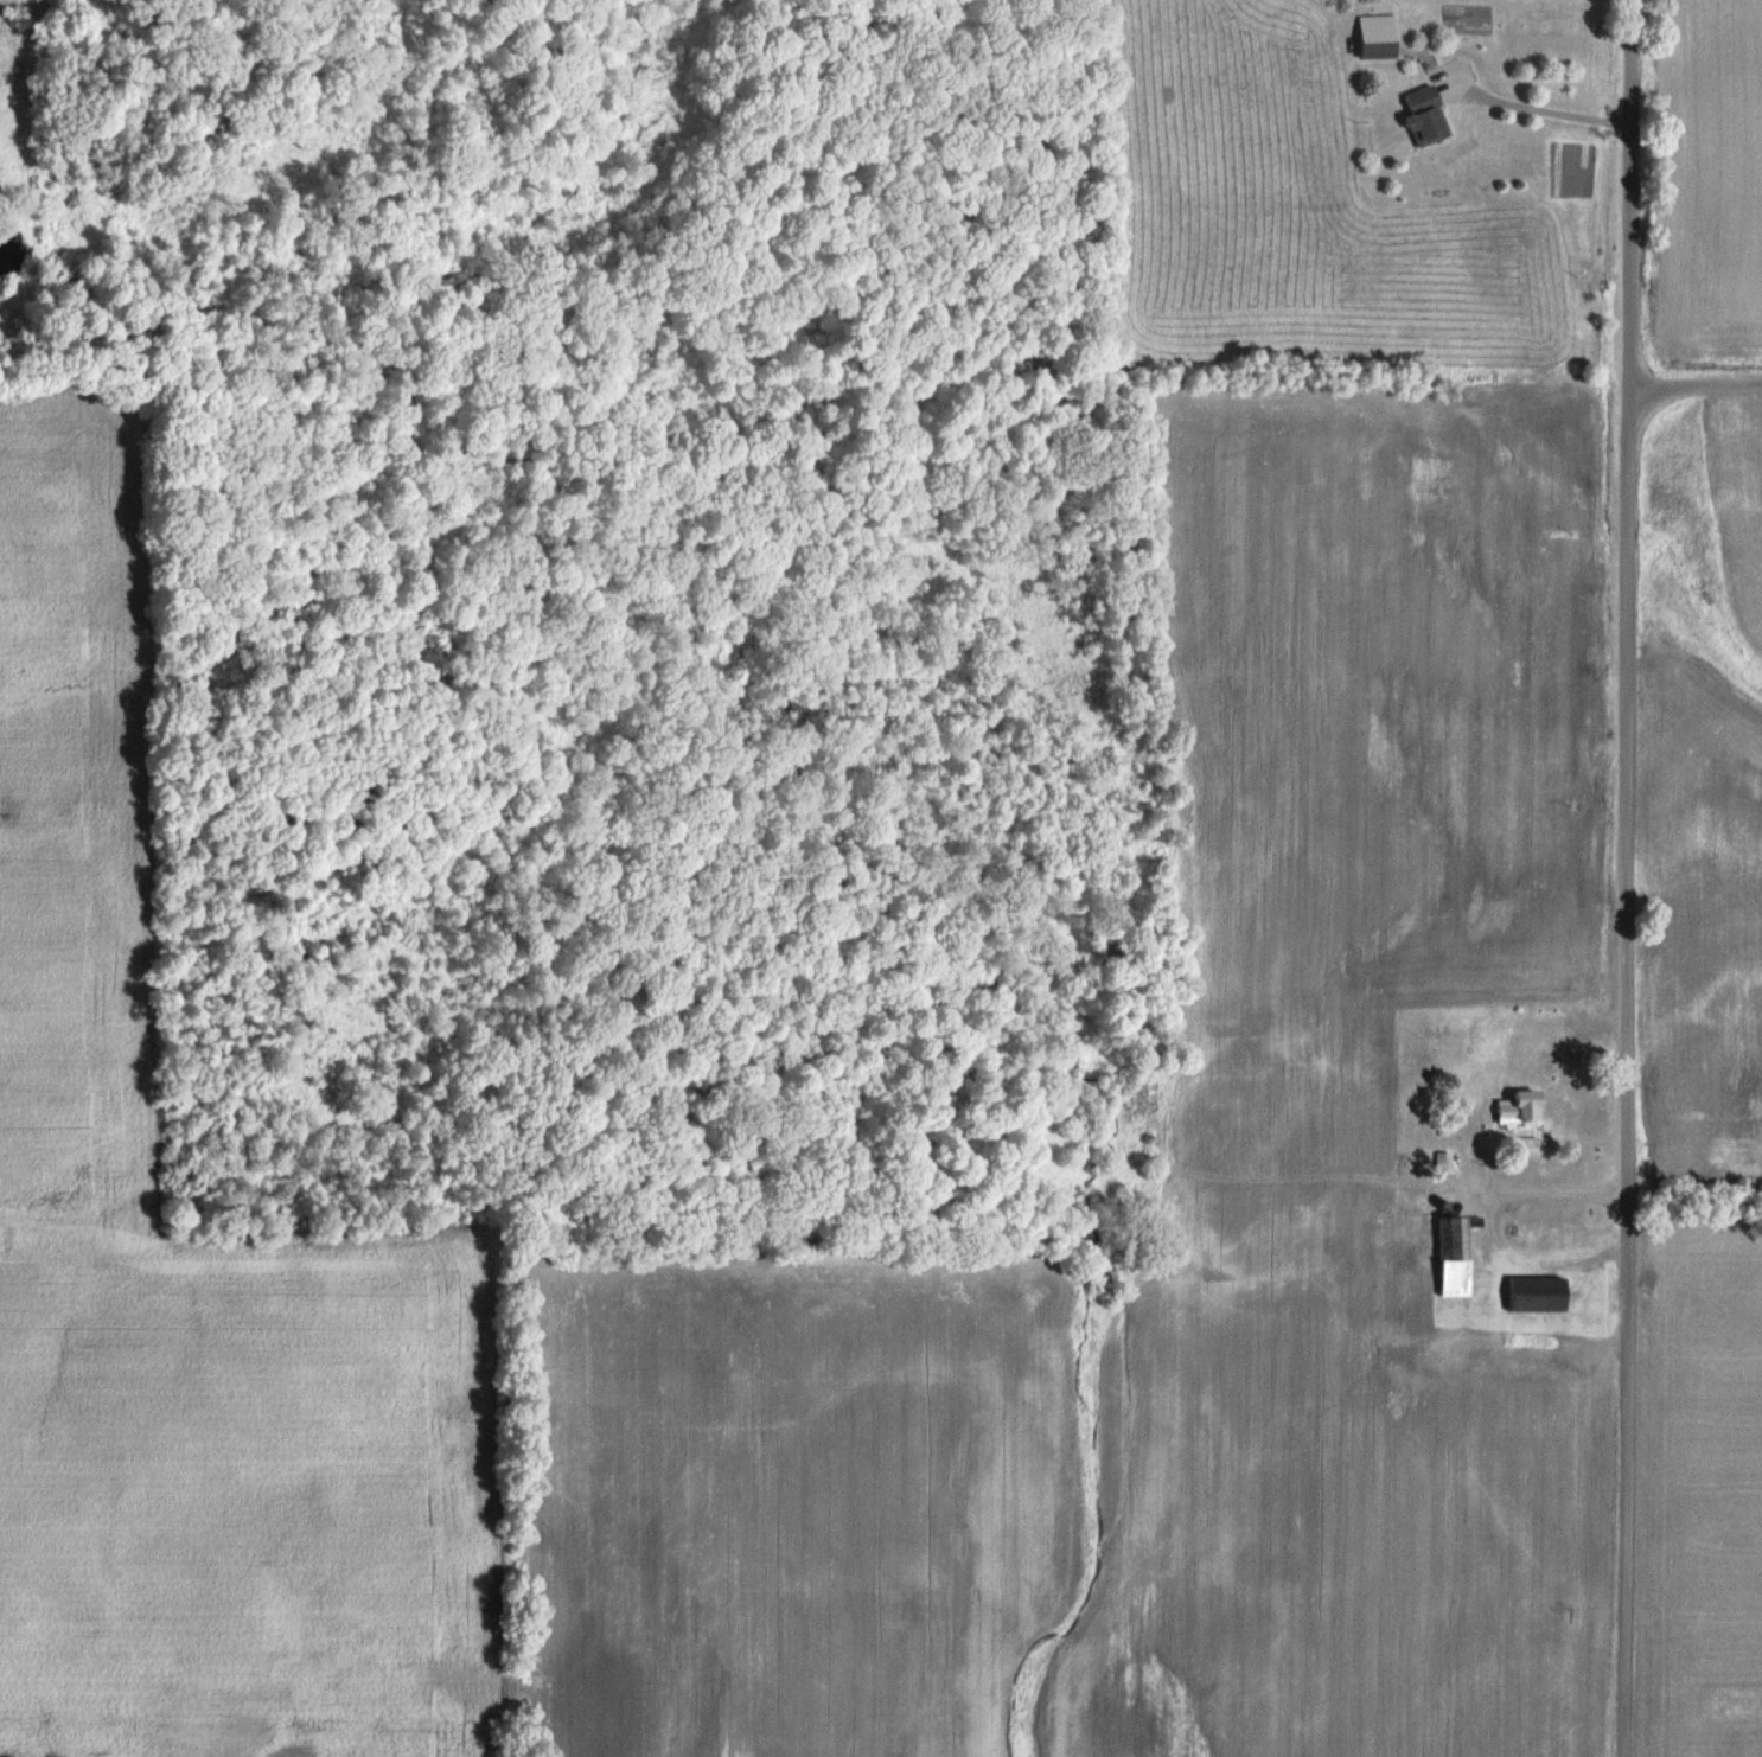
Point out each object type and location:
building: (1375, 41)
road: (1531, 96)
building: (1423, 117)
road: (1694, 386)
road: (1626, 878)
building: (1518, 1108)
road: (1596, 1193)
road: (1494, 1235)
building: (1453, 1257)
building: (1536, 1295)

